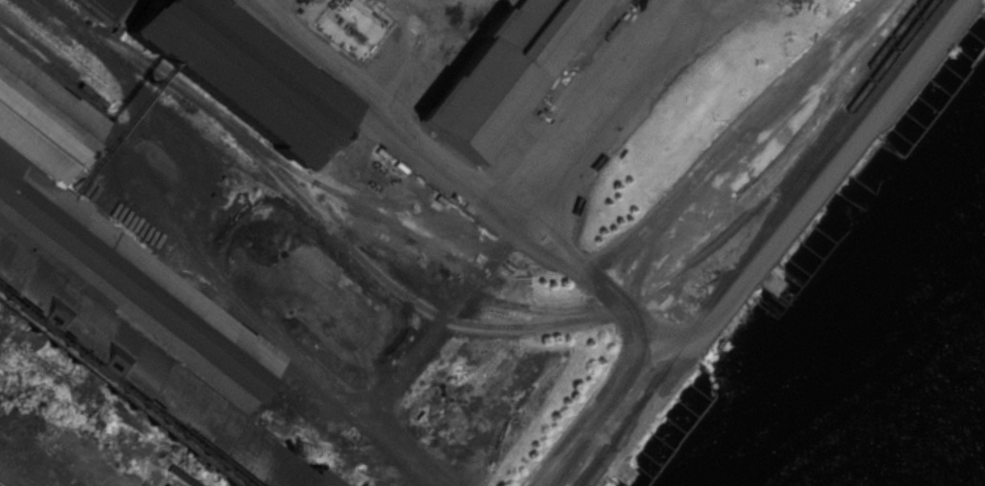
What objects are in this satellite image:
building: (85, 7)
railway: (42, 20)
railway: (52, 64)
building: (238, 71)
building: (500, 71)
railway: (854, 97)
railway: (264, 146)
railway: (792, 179)
railway: (361, 197)
road: (506, 199)
railway: (756, 240)
building: (119, 298)
railway: (594, 313)
railway: (2, 484)

